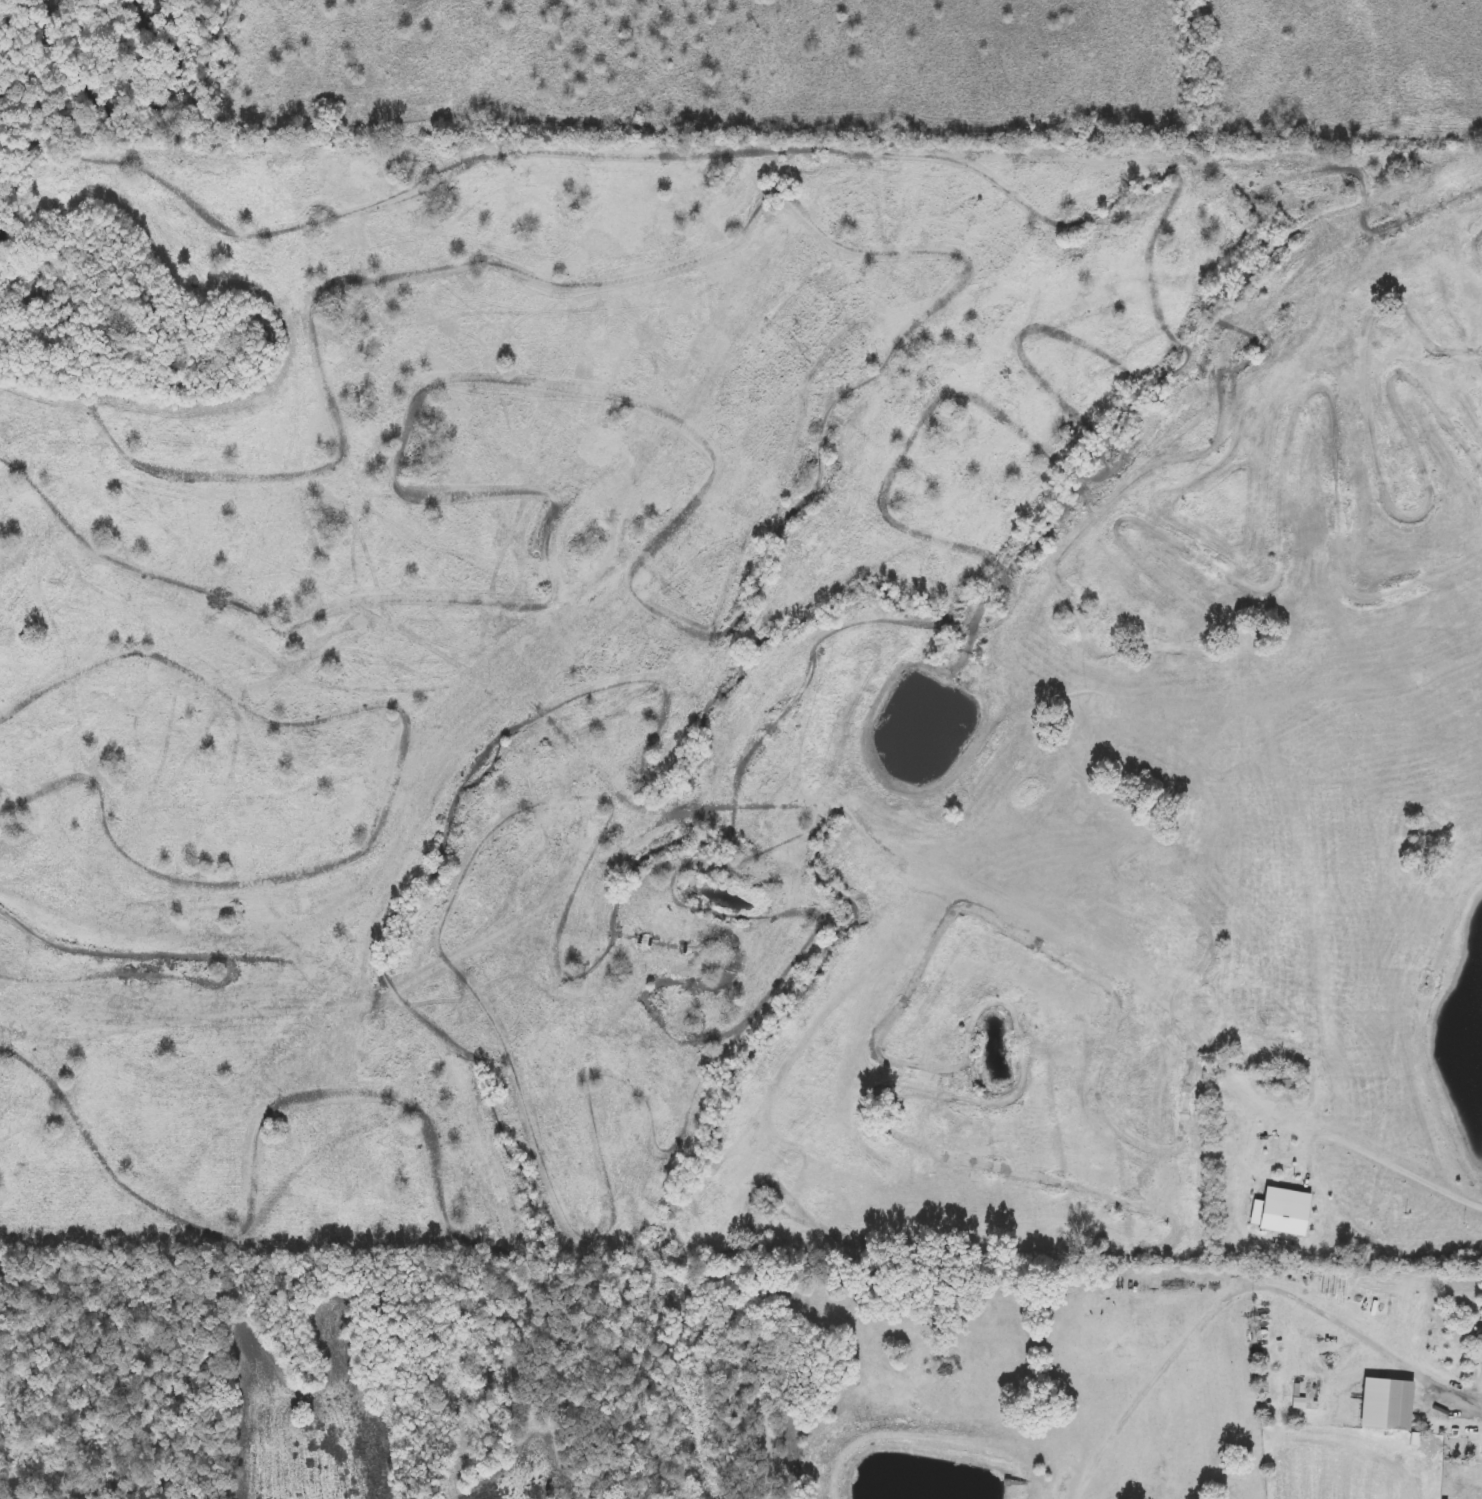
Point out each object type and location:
building: (1283, 1080)
road: (1380, 1158)
building: (1480, 1334)
road: (1376, 1342)
building: (1401, 1406)

